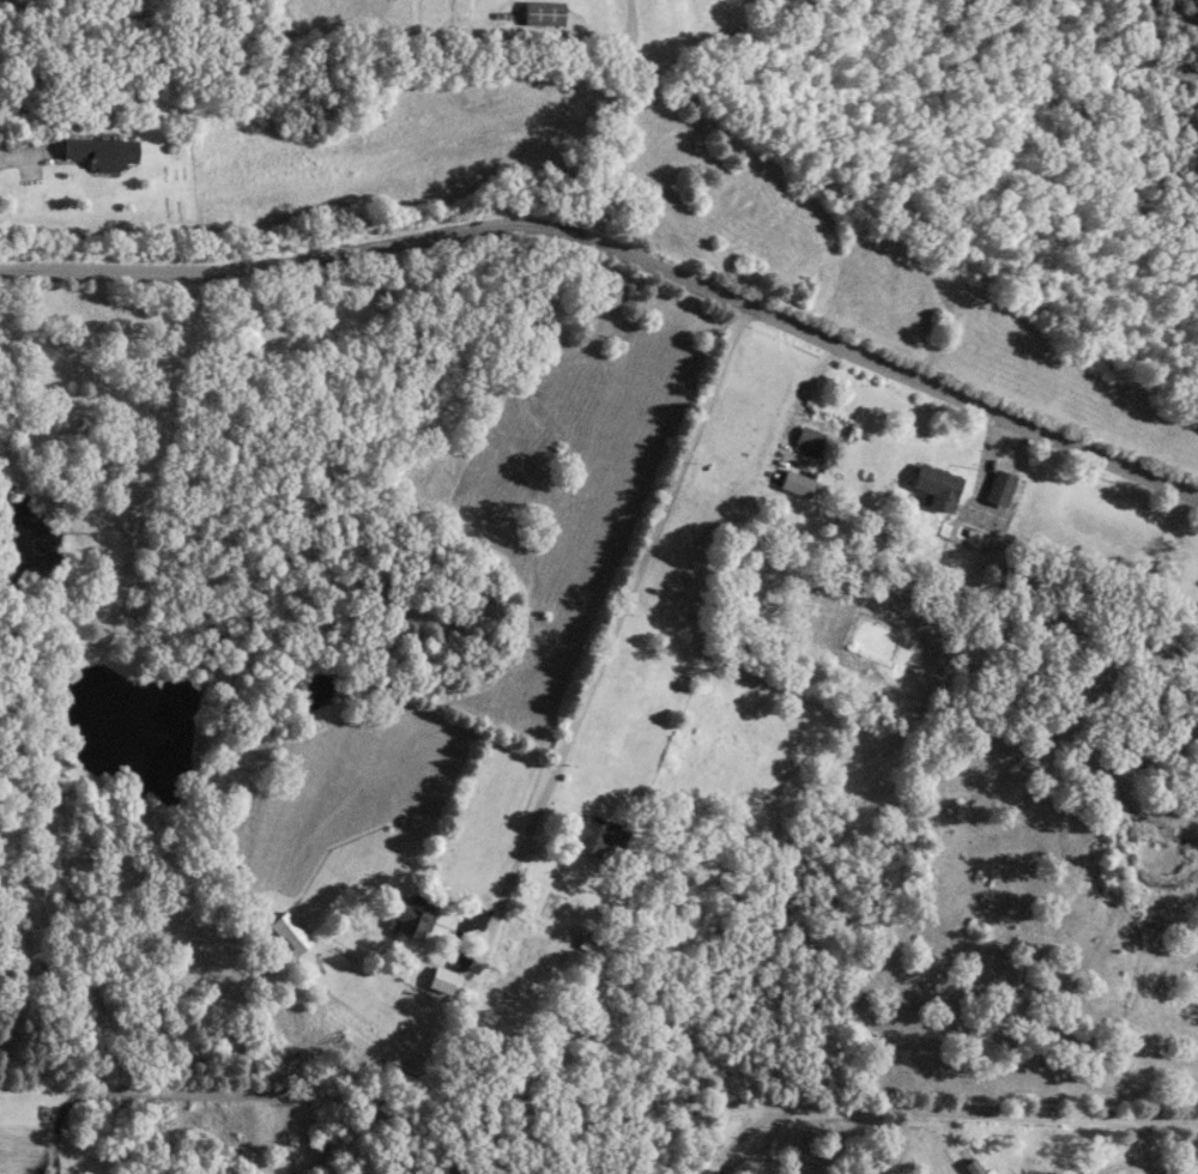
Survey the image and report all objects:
building: (540, 12)
road: (598, 113)
building: (97, 151)
road: (20, 157)
road: (619, 246)
building: (806, 440)
road: (987, 466)
building: (794, 483)
building: (934, 485)
building: (998, 486)
building: (1196, 625)
road: (613, 627)
building: (595, 834)
building: (409, 916)
building: (288, 932)
building: (585, 945)
building: (438, 980)
building: (591, 1037)
road: (647, 1108)
road: (56, 1119)
road: (285, 1139)
road: (731, 1140)
road: (766, 1144)

